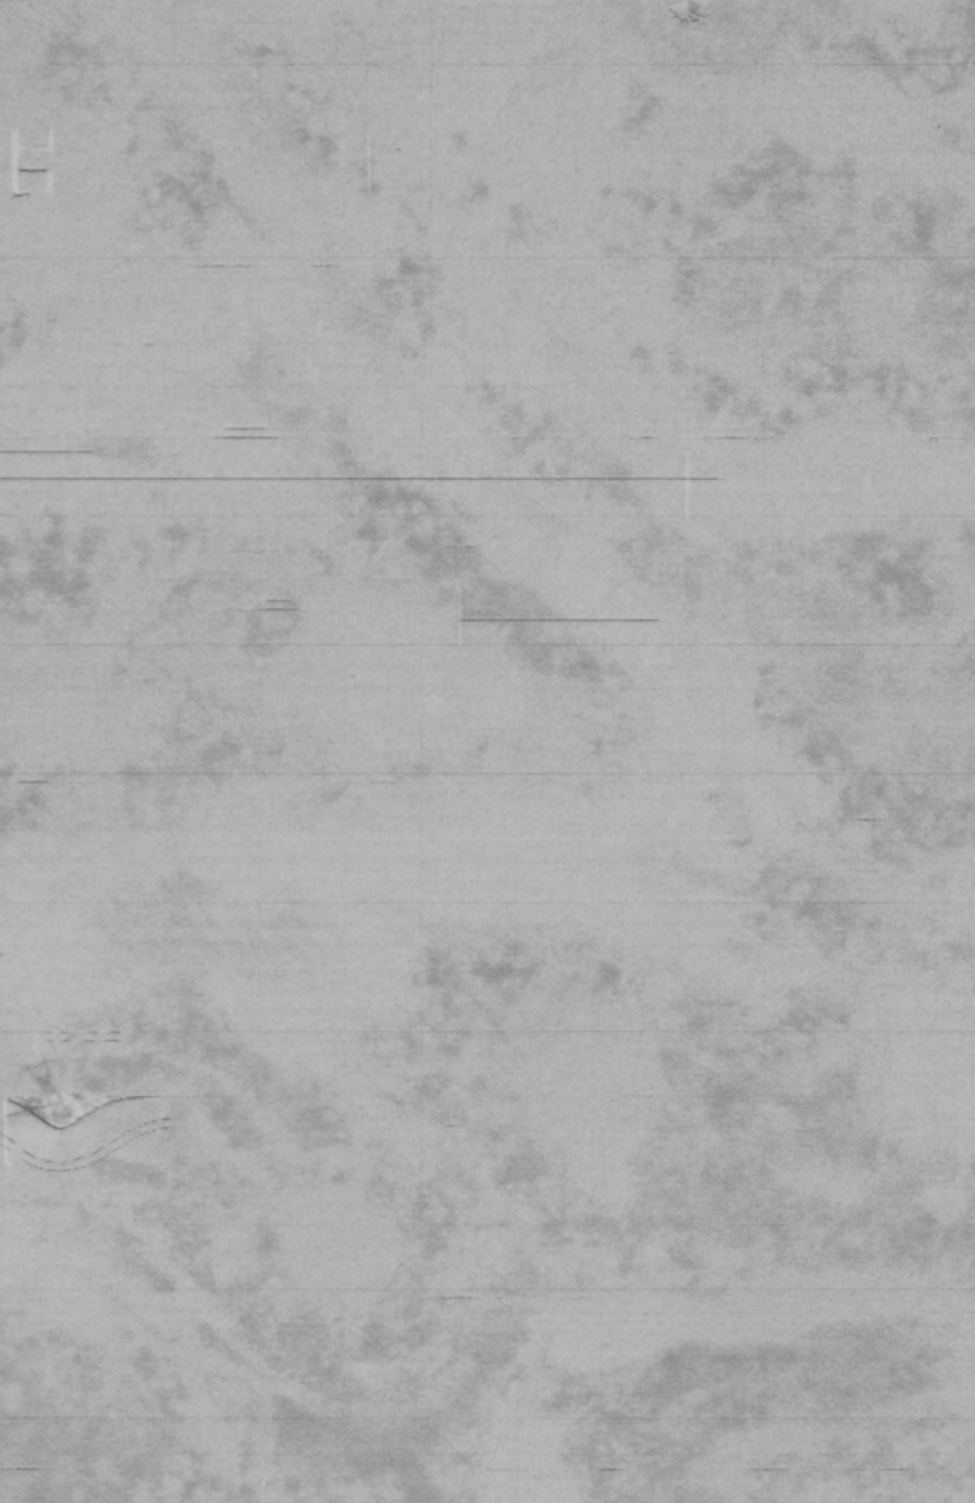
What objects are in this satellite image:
power tower: (57, 1112)

